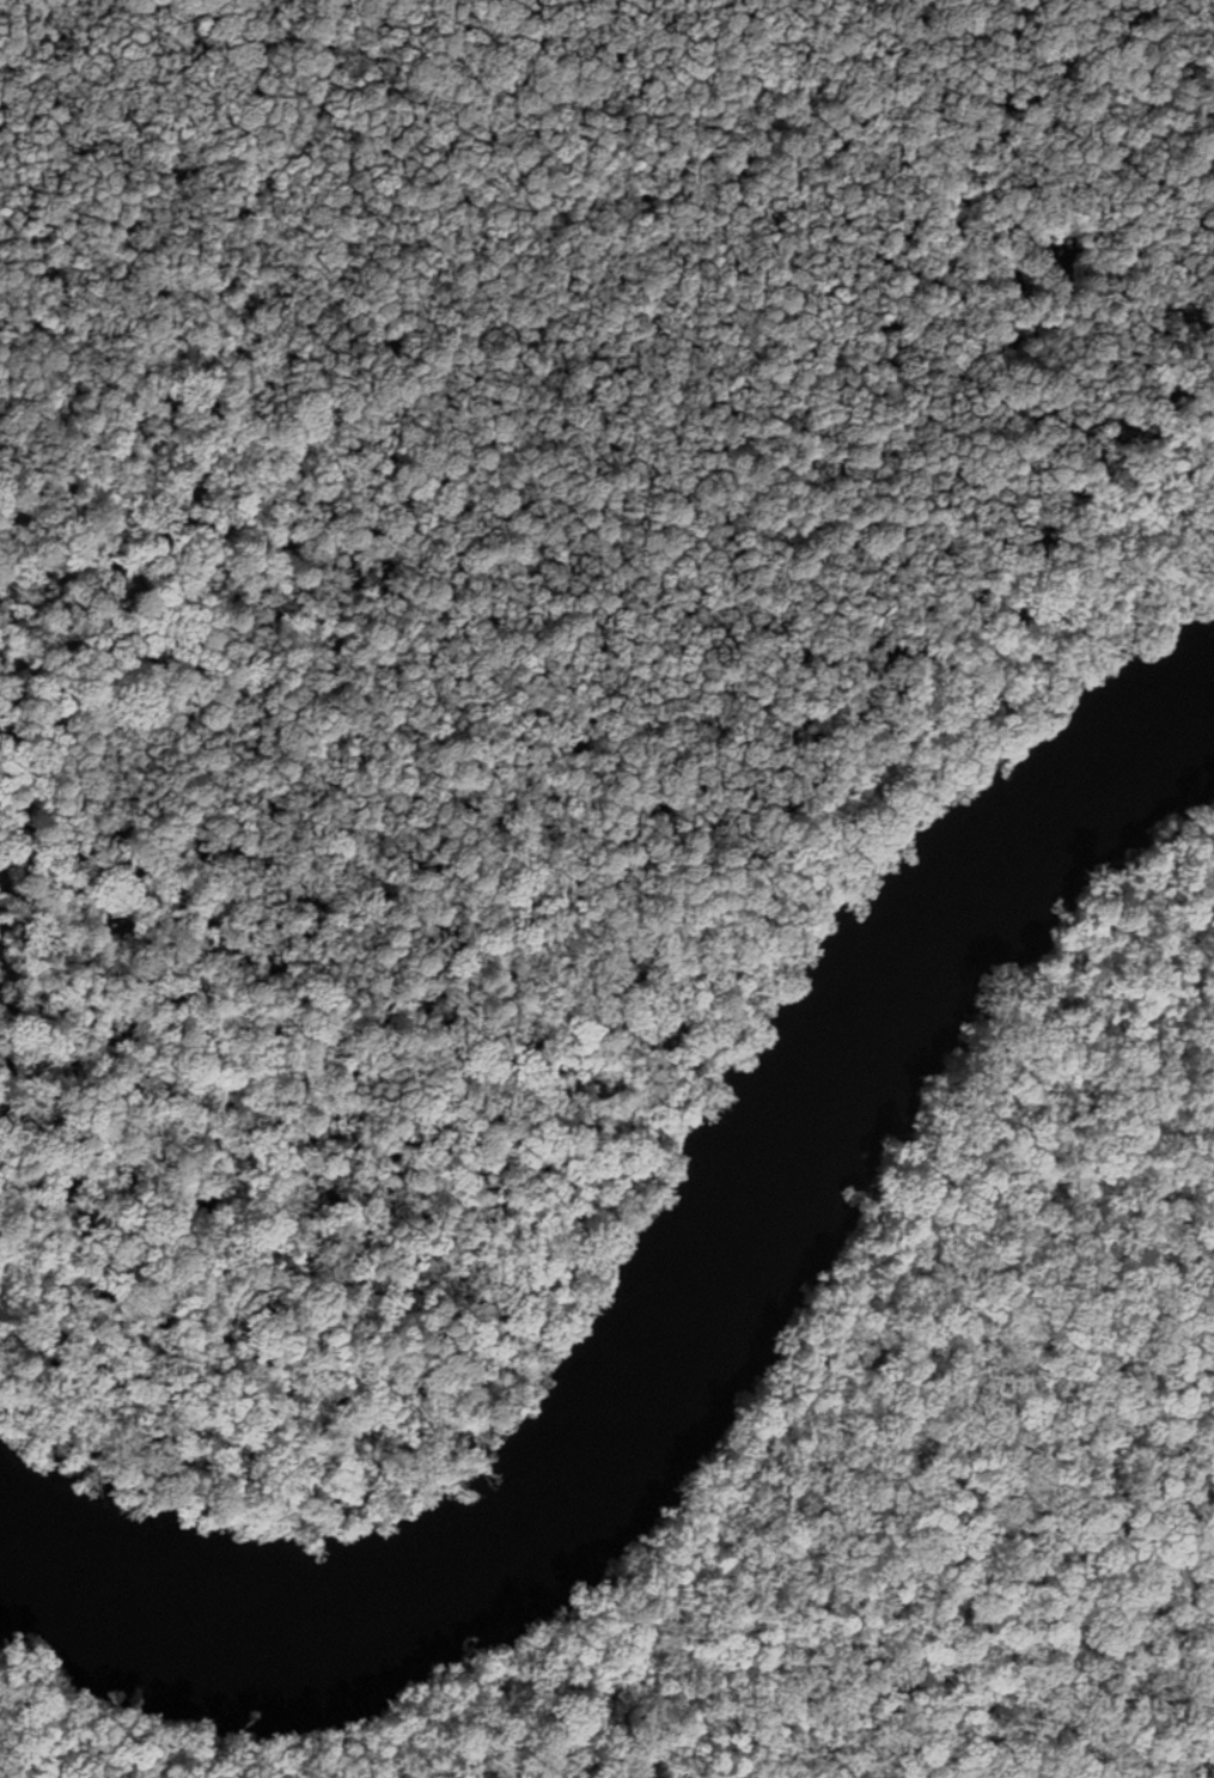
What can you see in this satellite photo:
building: (1213, 1028)
river: (665, 1285)

